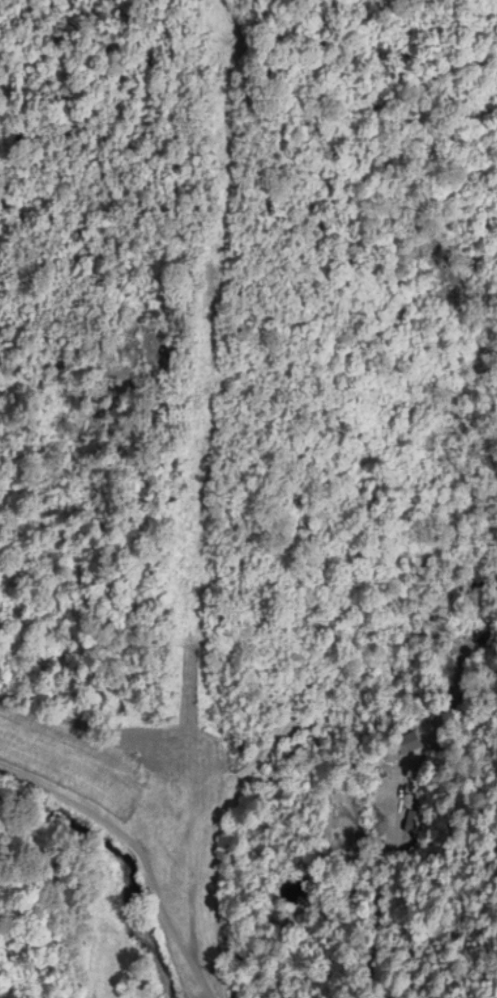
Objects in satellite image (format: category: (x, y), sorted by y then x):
road: (126, 836)
road: (338, 900)
road: (202, 980)

